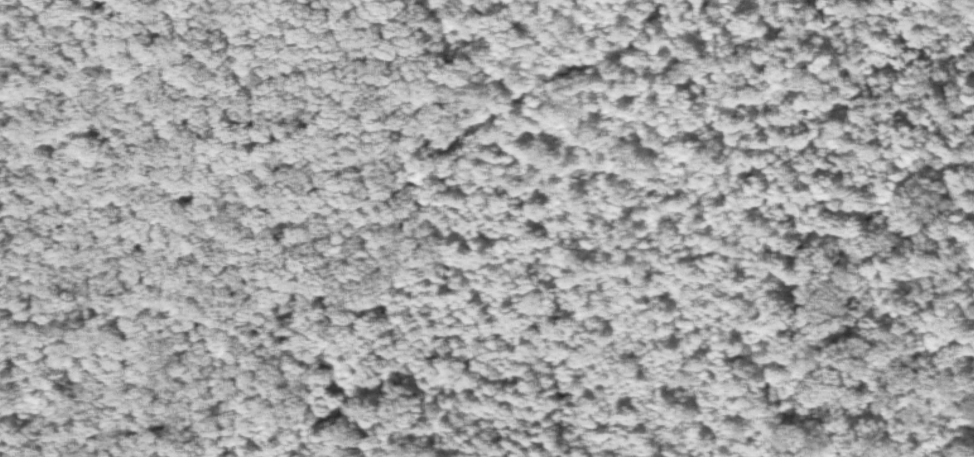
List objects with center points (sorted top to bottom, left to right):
road: (411, 177)

